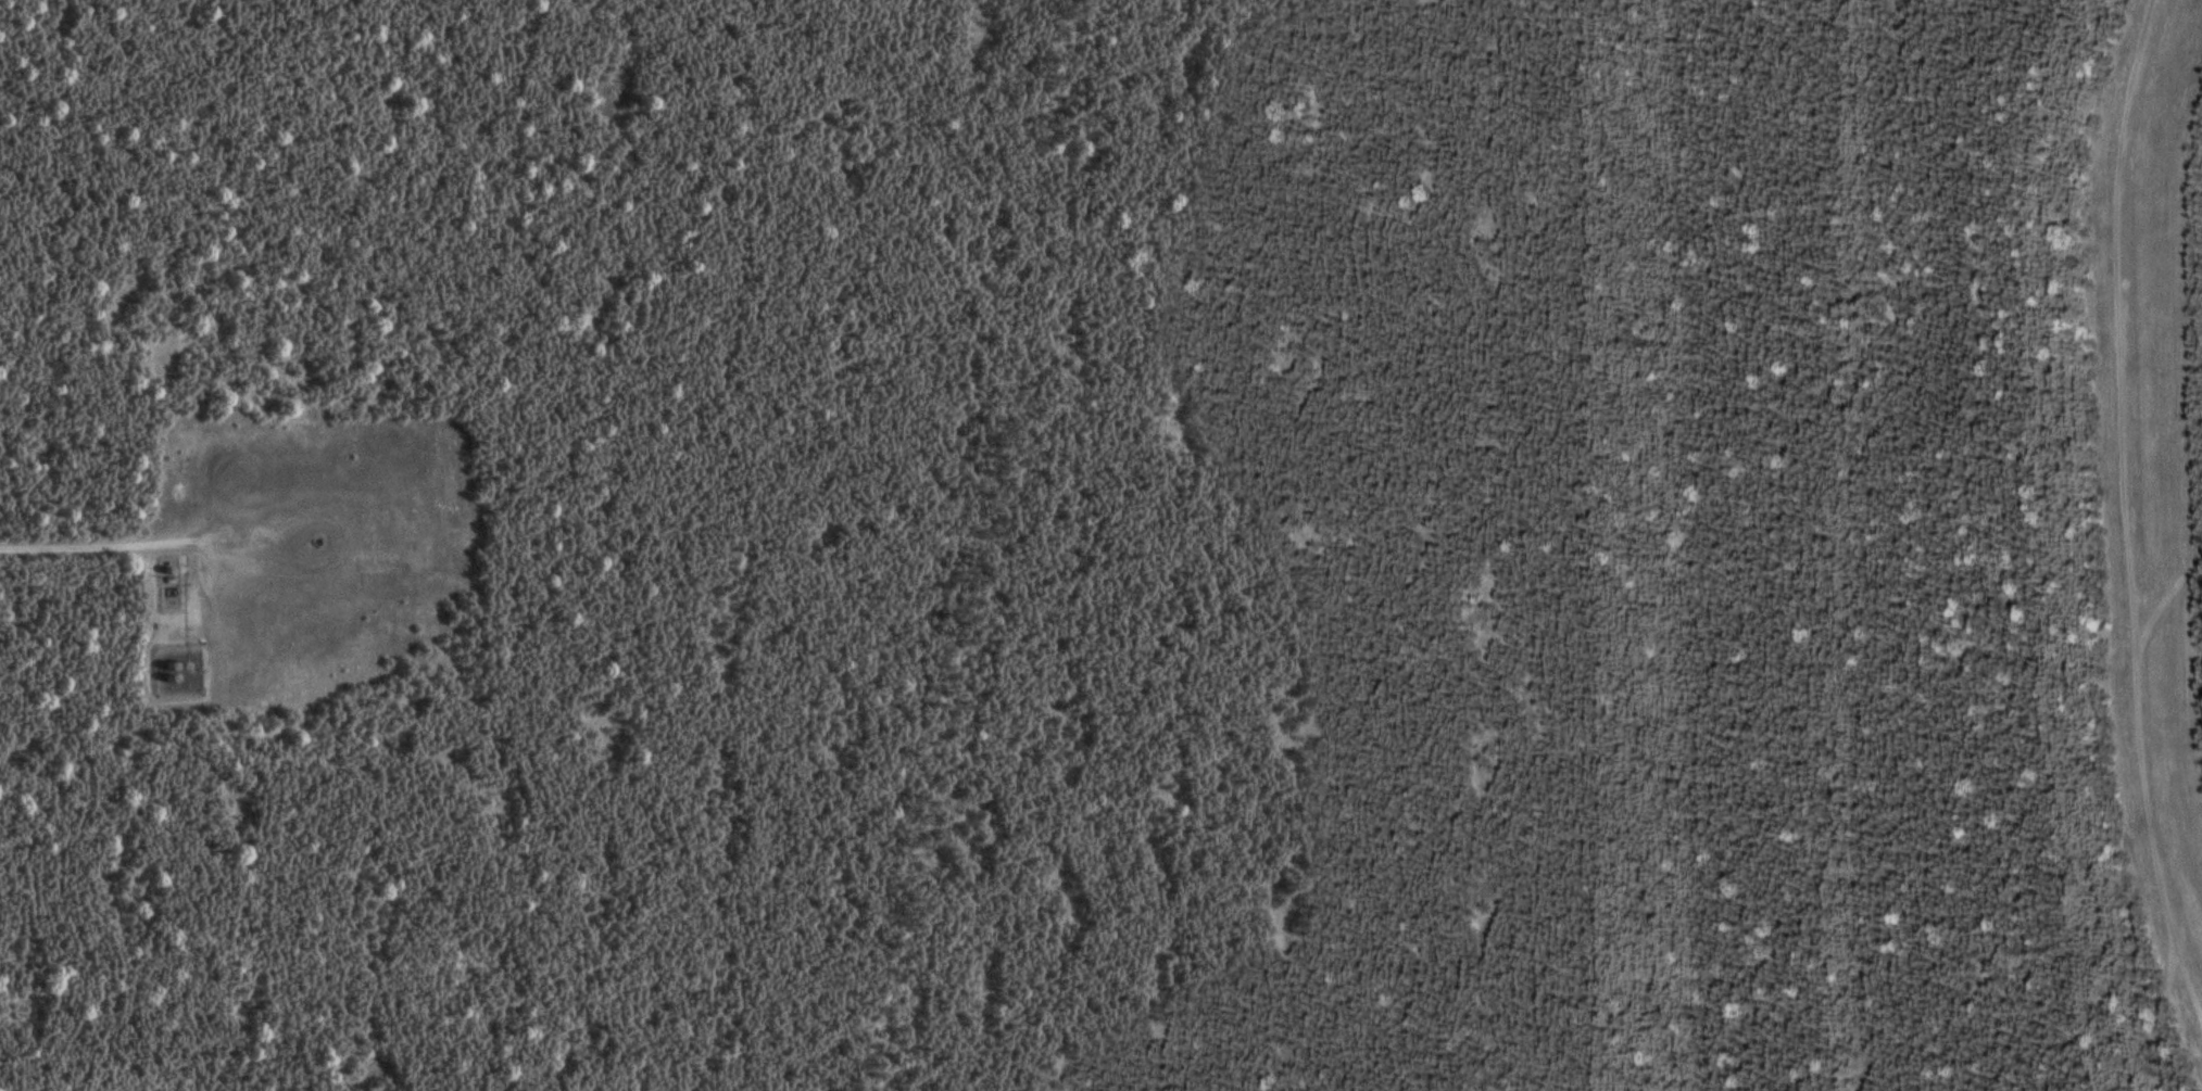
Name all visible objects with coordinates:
road: (2122, 316)
petroleum well: (318, 540)
road: (122, 544)
building: (200, 571)
road: (2172, 598)
road: (2159, 866)
road: (2190, 995)

